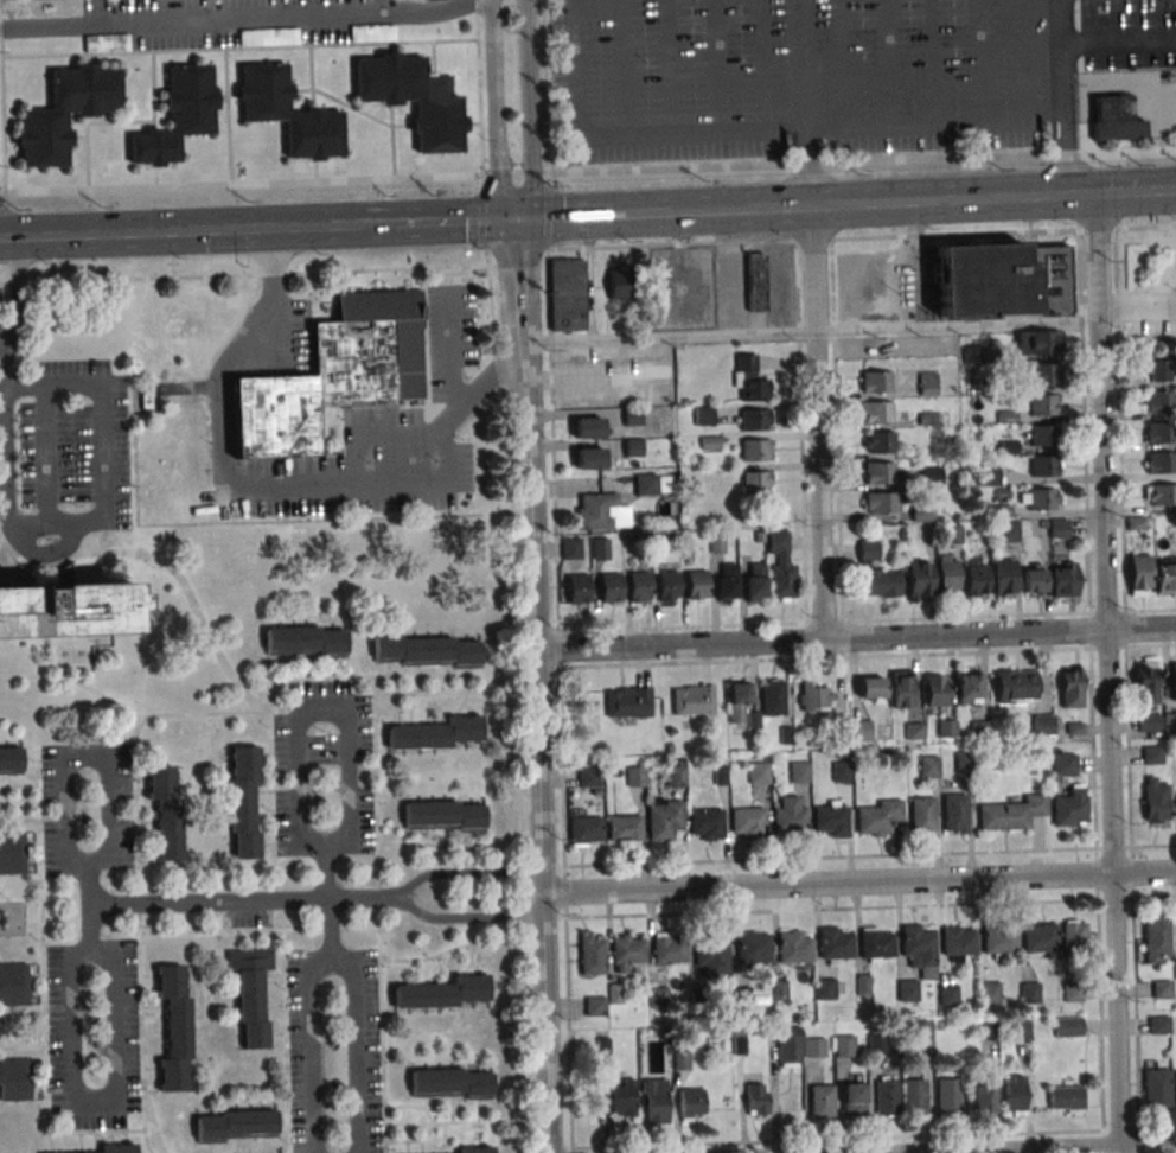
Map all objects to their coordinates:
road: (238, 21)
building: (372, 32)
building: (269, 36)
building: (107, 42)
road: (1114, 42)
road: (238, 47)
road: (433, 58)
road: (979, 59)
road: (935, 60)
road: (891, 62)
road: (842, 63)
road: (767, 64)
road: (671, 65)
road: (720, 65)
road: (622, 66)
road: (153, 77)
road: (311, 77)
road: (479, 88)
road: (543, 88)
road: (232, 94)
building: (413, 98)
road: (223, 100)
road: (1055, 100)
road: (154, 107)
road: (350, 108)
road: (2, 110)
road: (528, 110)
road: (496, 112)
building: (179, 115)
building: (288, 115)
building: (43, 116)
road: (228, 116)
building: (1114, 119)
road: (123, 122)
road: (473, 123)
road: (870, 123)
road: (669, 132)
road: (78, 139)
road: (9, 140)
road: (391, 142)
road: (87, 153)
road: (861, 161)
road: (315, 172)
road: (513, 176)
road: (155, 177)
road: (241, 184)
road: (995, 203)
road: (547, 212)
road: (743, 212)
road: (594, 217)
road: (481, 221)
traffic signals: (517, 221)
road: (440, 222)
traffic signals: (229, 228)
road: (181, 229)
building: (983, 280)
building: (754, 281)
building: (618, 282)
building: (568, 294)
road: (1138, 307)
road: (810, 330)
building: (1038, 342)
building: (1159, 370)
building: (339, 371)
building: (1042, 375)
building: (748, 380)
building: (876, 382)
building: (928, 383)
road: (37, 386)
building: (1159, 402)
building: (1042, 404)
building: (877, 412)
building: (703, 415)
building: (754, 419)
road: (819, 425)
building: (586, 427)
building: (1161, 432)
building: (1042, 434)
road: (379, 440)
building: (878, 441)
building: (755, 448)
road: (47, 457)
building: (589, 458)
building: (1161, 461)
building: (1043, 465)
building: (878, 472)
building: (756, 482)
building: (650, 484)
road: (286, 485)
building: (1159, 495)
building: (1040, 498)
building: (881, 502)
building: (596, 511)
road: (55, 528)
building: (1009, 530)
road: (530, 546)
building: (571, 548)
building: (601, 548)
building: (781, 567)
building: (875, 573)
building: (947, 574)
building: (1139, 575)
building: (976, 576)
building: (1004, 576)
building: (1165, 576)
building: (1033, 579)
building: (1062, 579)
building: (919, 580)
building: (727, 582)
building: (755, 582)
building: (667, 586)
building: (697, 586)
building: (638, 587)
building: (609, 588)
building: (577, 590)
building: (68, 610)
road: (856, 639)
building: (305, 641)
building: (426, 652)
road: (1107, 675)
building: (1174, 680)
building: (1146, 682)
building: (1016, 686)
building: (1072, 686)
building: (901, 688)
building: (967, 688)
building: (871, 689)
building: (935, 690)
building: (814, 695)
building: (772, 697)
building: (692, 700)
building: (628, 701)
building: (739, 702)
road: (319, 706)
building: (1149, 721)
building: (1169, 721)
building: (1043, 724)
building: (946, 727)
building: (862, 730)
building: (439, 733)
road: (84, 754)
building: (1152, 754)
building: (9, 760)
building: (1063, 765)
building: (928, 766)
building: (842, 771)
building: (759, 772)
building: (799, 772)
building: (635, 777)
building: (592, 782)
building: (1155, 800)
building: (244, 802)
building: (667, 808)
building: (1070, 808)
building: (167, 809)
building: (954, 814)
building: (1010, 814)
building: (921, 815)
building: (445, 816)
building: (877, 817)
building: (831, 821)
building: (748, 822)
building: (790, 822)
building: (707, 824)
building: (625, 828)
building: (586, 830)
building: (12, 853)
road: (464, 874)
road: (542, 883)
road: (858, 883)
road: (564, 891)
road: (261, 899)
road: (328, 902)
road: (110, 903)
road: (89, 912)
road: (464, 917)
building: (1073, 934)
building: (1040, 937)
building: (998, 939)
building: (1156, 939)
building: (958, 942)
building: (875, 943)
building: (835, 944)
building: (918, 947)
building: (753, 948)
building: (667, 949)
building: (793, 949)
building: (628, 951)
building: (710, 951)
building: (592, 954)
road: (331, 960)
building: (14, 983)
building: (825, 988)
building: (907, 989)
building: (1161, 989)
building: (989, 992)
building: (251, 993)
building: (446, 993)
building: (1029, 993)
building: (947, 995)
building: (659, 998)
building: (595, 1006)
road: (545, 1023)
building: (1158, 1025)
building: (1068, 1026)
building: (174, 1028)
building: (986, 1030)
building: (921, 1034)
building: (877, 1041)
building: (845, 1045)
building: (790, 1046)
building: (816, 1046)
building: (680, 1059)
building: (15, 1079)
building: (452, 1083)
building: (1157, 1087)
building: (1175, 1088)
building: (1014, 1095)
building: (887, 1096)
building: (915, 1096)
building: (947, 1096)
building: (622, 1097)
building: (756, 1098)
building: (854, 1098)
building: (982, 1098)
building: (1066, 1098)
building: (654, 1100)
building: (822, 1101)
building: (688, 1103)
road: (95, 1106)
building: (236, 1126)
building: (119, 1148)
road: (1047, 1148)
building: (475, 1149)

